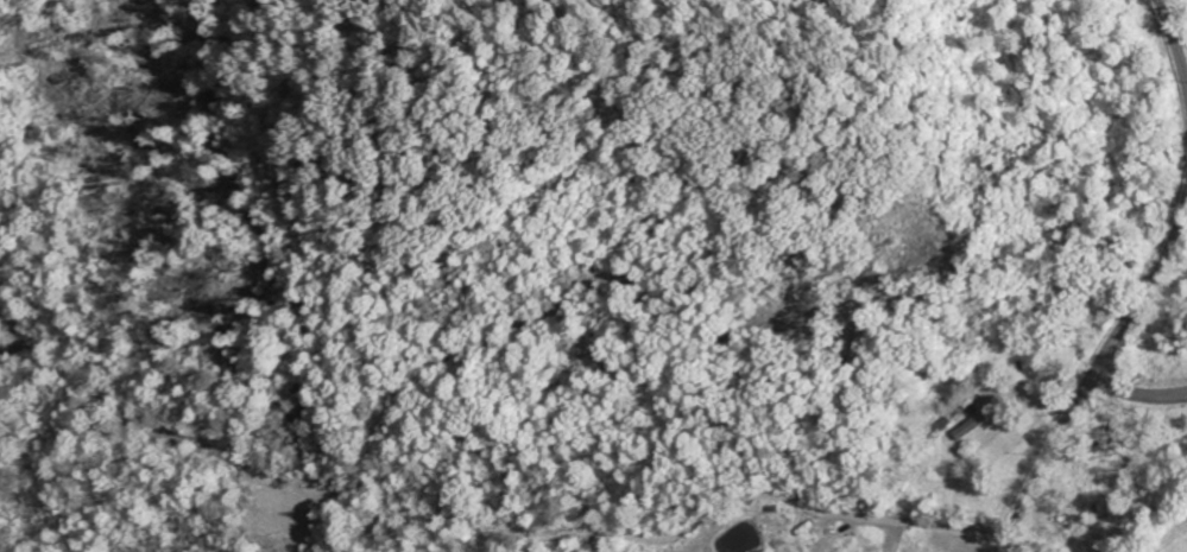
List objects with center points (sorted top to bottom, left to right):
road: (1175, 39)
road: (1143, 294)
road: (1136, 396)
road: (1042, 464)

